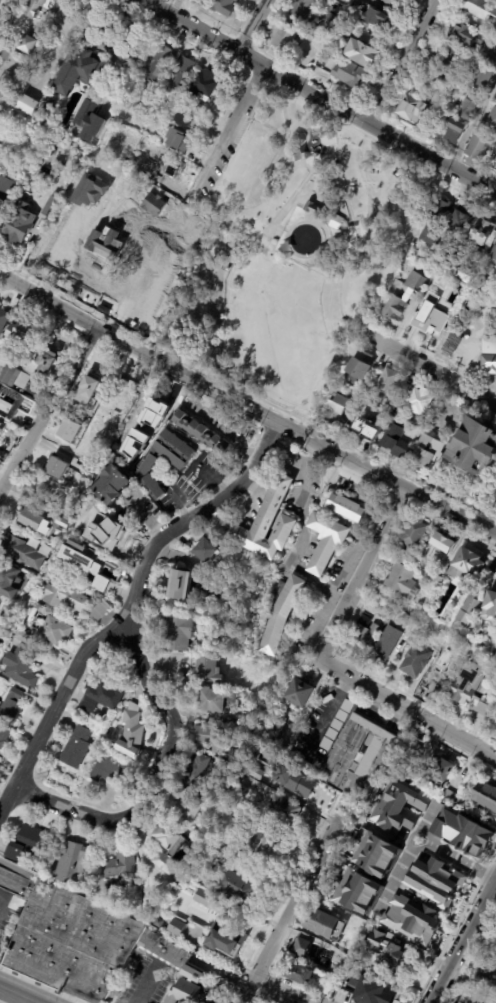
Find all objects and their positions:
building: (5, 2)
building: (389, 3)
road: (159, 4)
building: (222, 6)
building: (358, 6)
building: (37, 8)
building: (481, 8)
building: (302, 9)
building: (379, 17)
building: (331, 20)
road: (257, 27)
building: (348, 31)
building: (3, 34)
building: (469, 36)
building: (138, 39)
building: (286, 39)
building: (28, 44)
building: (320, 47)
building: (366, 53)
building: (6, 55)
building: (327, 55)
building: (491, 60)
road: (399, 61)
building: (452, 61)
building: (162, 63)
building: (79, 71)
building: (181, 74)
building: (351, 74)
building: (485, 78)
building: (433, 82)
building: (204, 87)
road: (318, 96)
building: (25, 103)
building: (415, 109)
building: (469, 109)
building: (185, 118)
building: (90, 120)
building: (493, 121)
road: (472, 122)
road: (106, 132)
building: (457, 132)
road: (229, 138)
building: (180, 141)
building: (117, 146)
road: (301, 146)
building: (150, 148)
building: (478, 148)
building: (126, 161)
building: (165, 164)
road: (288, 173)
building: (162, 179)
building: (7, 187)
road: (292, 194)
building: (51, 205)
building: (316, 210)
building: (119, 215)
building: (438, 219)
building: (337, 223)
building: (20, 224)
building: (460, 224)
building: (190, 231)
building: (483, 232)
building: (48, 248)
building: (494, 254)
park: (293, 256)
building: (450, 258)
building: (134, 266)
building: (469, 274)
building: (93, 276)
building: (440, 282)
building: (480, 282)
building: (120, 290)
building: (404, 298)
building: (148, 306)
building: (430, 316)
building: (4, 320)
building: (22, 332)
building: (451, 343)
building: (489, 354)
building: (362, 364)
building: (29, 369)
road: (433, 370)
building: (389, 383)
building: (0, 390)
building: (91, 391)
building: (421, 401)
road: (48, 408)
road: (246, 410)
building: (338, 411)
building: (401, 411)
building: (152, 412)
building: (118, 413)
building: (385, 417)
building: (422, 421)
building: (369, 428)
building: (3, 429)
building: (203, 433)
building: (76, 440)
building: (397, 441)
building: (476, 447)
building: (128, 448)
building: (175, 449)
building: (429, 454)
building: (59, 468)
building: (89, 473)
building: (151, 478)
building: (115, 485)
building: (50, 490)
building: (348, 507)
building: (67, 514)
building: (32, 519)
building: (63, 523)
building: (269, 524)
building: (416, 533)
building: (112, 534)
road: (300, 535)
building: (60, 537)
building: (327, 542)
building: (443, 546)
building: (207, 551)
building: (21, 552)
building: (84, 564)
building: (470, 565)
road: (361, 574)
building: (435, 578)
building: (8, 580)
building: (404, 581)
building: (182, 585)
building: (66, 597)
building: (476, 601)
building: (1, 602)
building: (491, 608)
road: (129, 609)
building: (100, 612)
building: (282, 613)
road: (418, 616)
building: (32, 618)
building: (55, 631)
building: (179, 634)
building: (364, 635)
building: (23, 637)
building: (386, 645)
building: (416, 661)
building: (21, 667)
building: (208, 671)
building: (435, 681)
building: (472, 687)
building: (300, 694)
building: (103, 696)
building: (217, 701)
building: (11, 707)
road: (406, 711)
road: (325, 714)
building: (493, 724)
building: (276, 726)
building: (132, 732)
building: (3, 737)
building: (218, 740)
building: (78, 747)
building: (414, 750)
building: (380, 754)
building: (442, 767)
building: (108, 769)
building: (198, 770)
building: (254, 772)
road: (154, 777)
building: (297, 781)
building: (207, 793)
building: (235, 795)
building: (487, 795)
building: (450, 796)
building: (462, 800)
building: (189, 805)
building: (283, 807)
building: (397, 808)
building: (219, 820)
building: (460, 831)
building: (29, 843)
building: (263, 844)
building: (169, 847)
building: (375, 855)
building: (76, 863)
building: (203, 863)
building: (123, 865)
building: (434, 881)
building: (16, 882)
road: (495, 884)
building: (117, 886)
building: (237, 886)
building: (356, 892)
road: (1, 896)
building: (206, 899)
road: (296, 899)
building: (149, 906)
parking lot: (7, 910)
building: (410, 919)
building: (80, 923)
building: (323, 924)
building: (176, 929)
building: (229, 938)
building: (376, 940)
road: (463, 942)
building: (494, 949)
building: (308, 950)
building: (397, 958)
building: (59, 964)
building: (298, 973)
building: (487, 973)
road: (143, 982)
building: (327, 987)
road: (286, 989)
building: (488, 989)
building: (184, 991)
building: (218, 992)
building: (375, 993)
road: (18, 995)
building: (477, 997)
road: (0, 1002)
road: (31, 1002)

